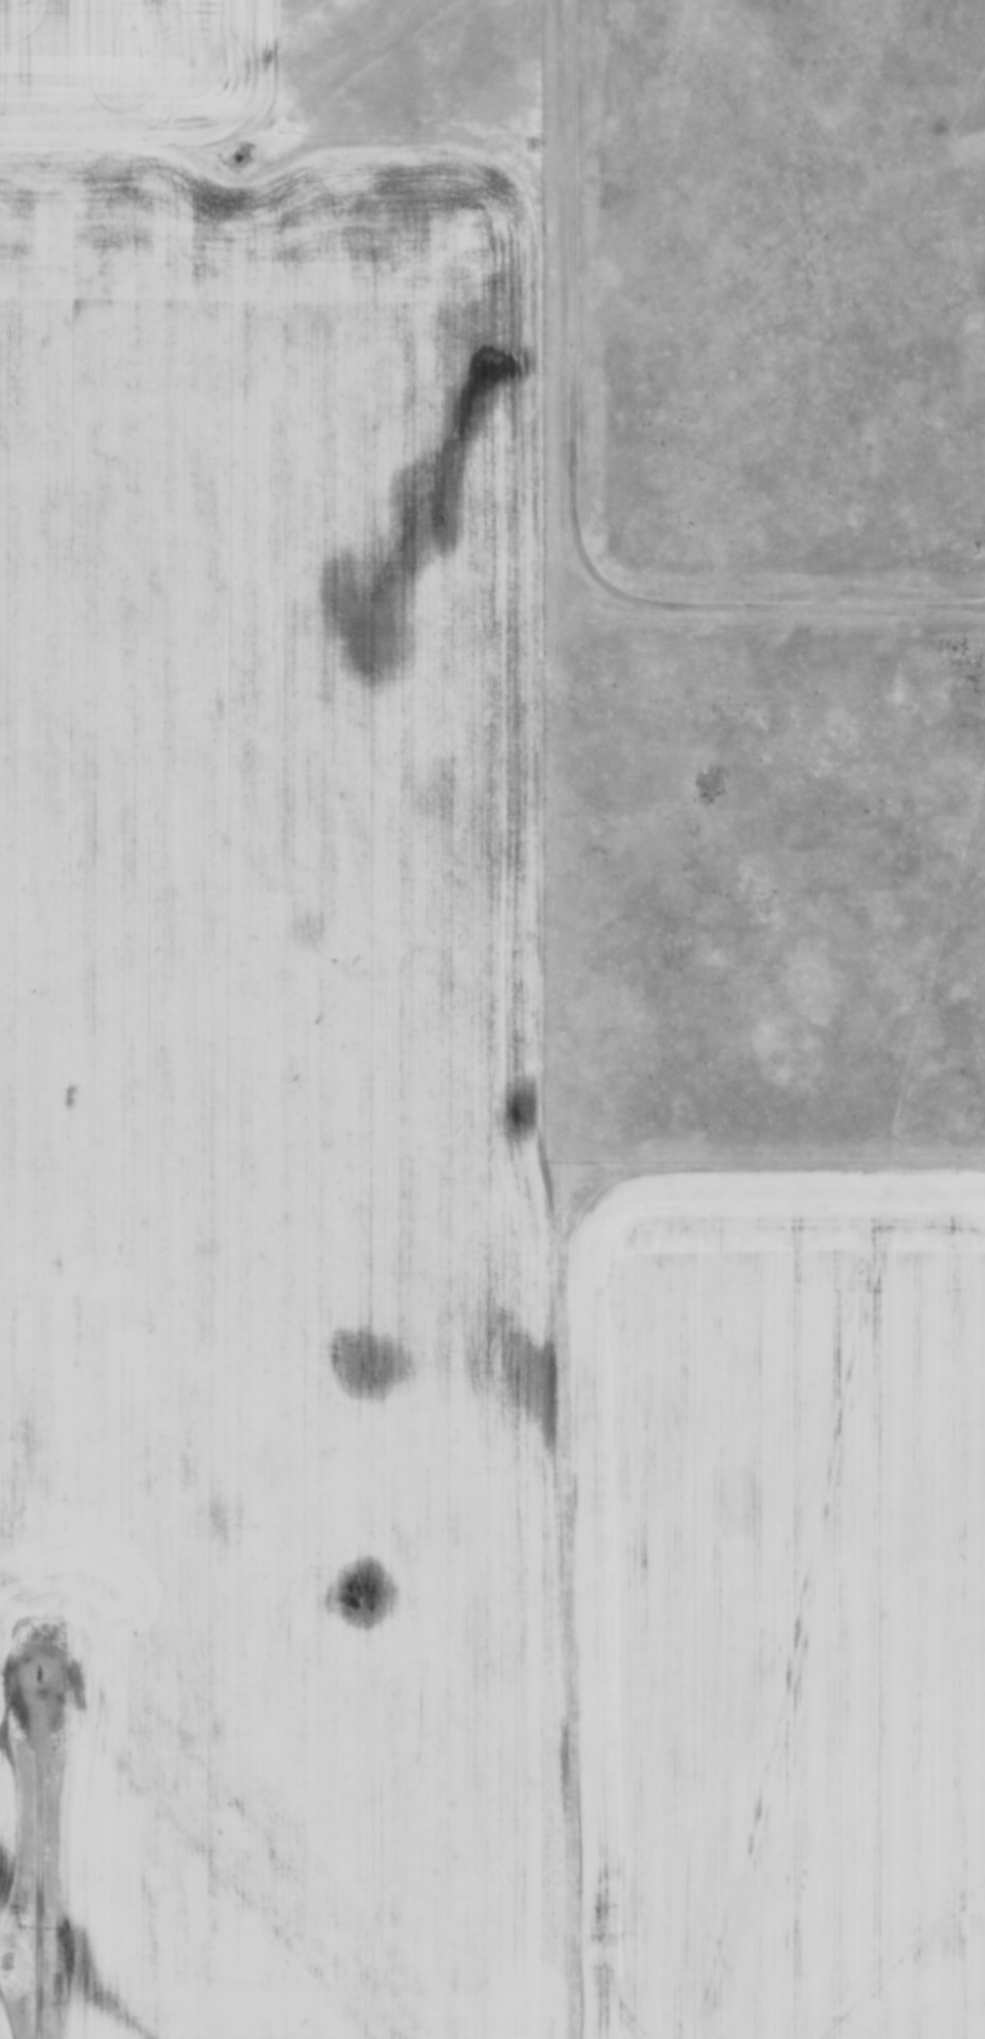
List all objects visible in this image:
road: (576, 485)
road: (40, 1871)

